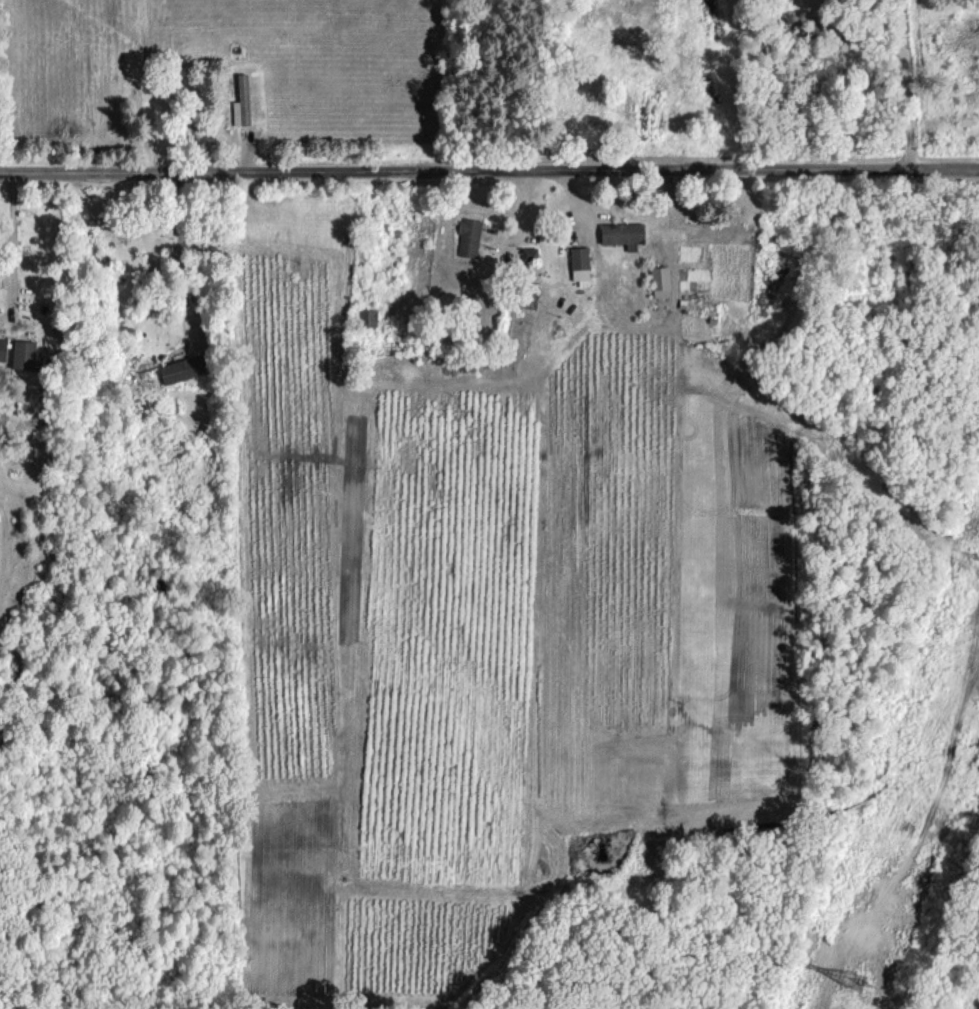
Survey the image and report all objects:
road: (907, 85)
building: (241, 101)
road: (489, 172)
building: (621, 234)
building: (467, 237)
road: (4, 241)
building: (660, 280)
building: (367, 317)
building: (2, 348)
building: (22, 354)
building: (181, 368)
power tower: (867, 948)

